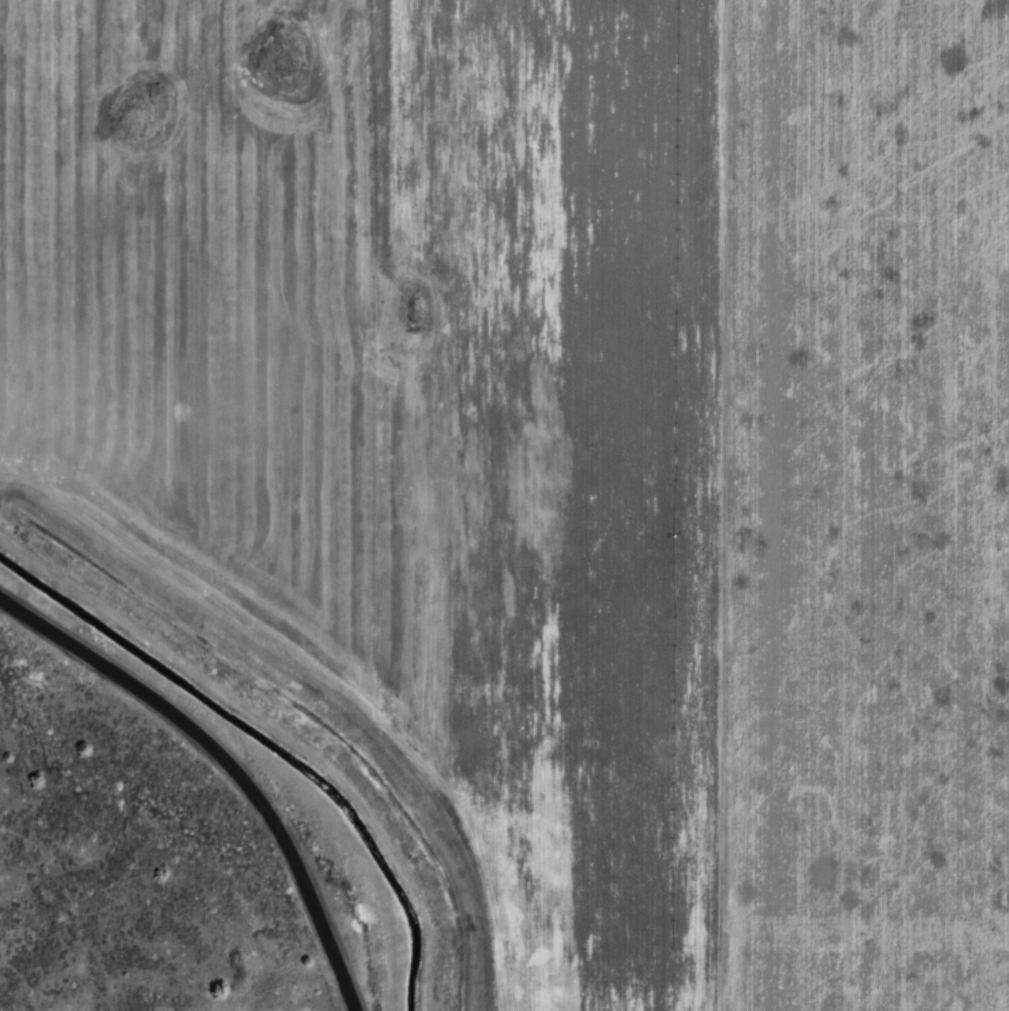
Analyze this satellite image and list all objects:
crop: (416, 412)
crop: (863, 505)
road: (227, 762)

